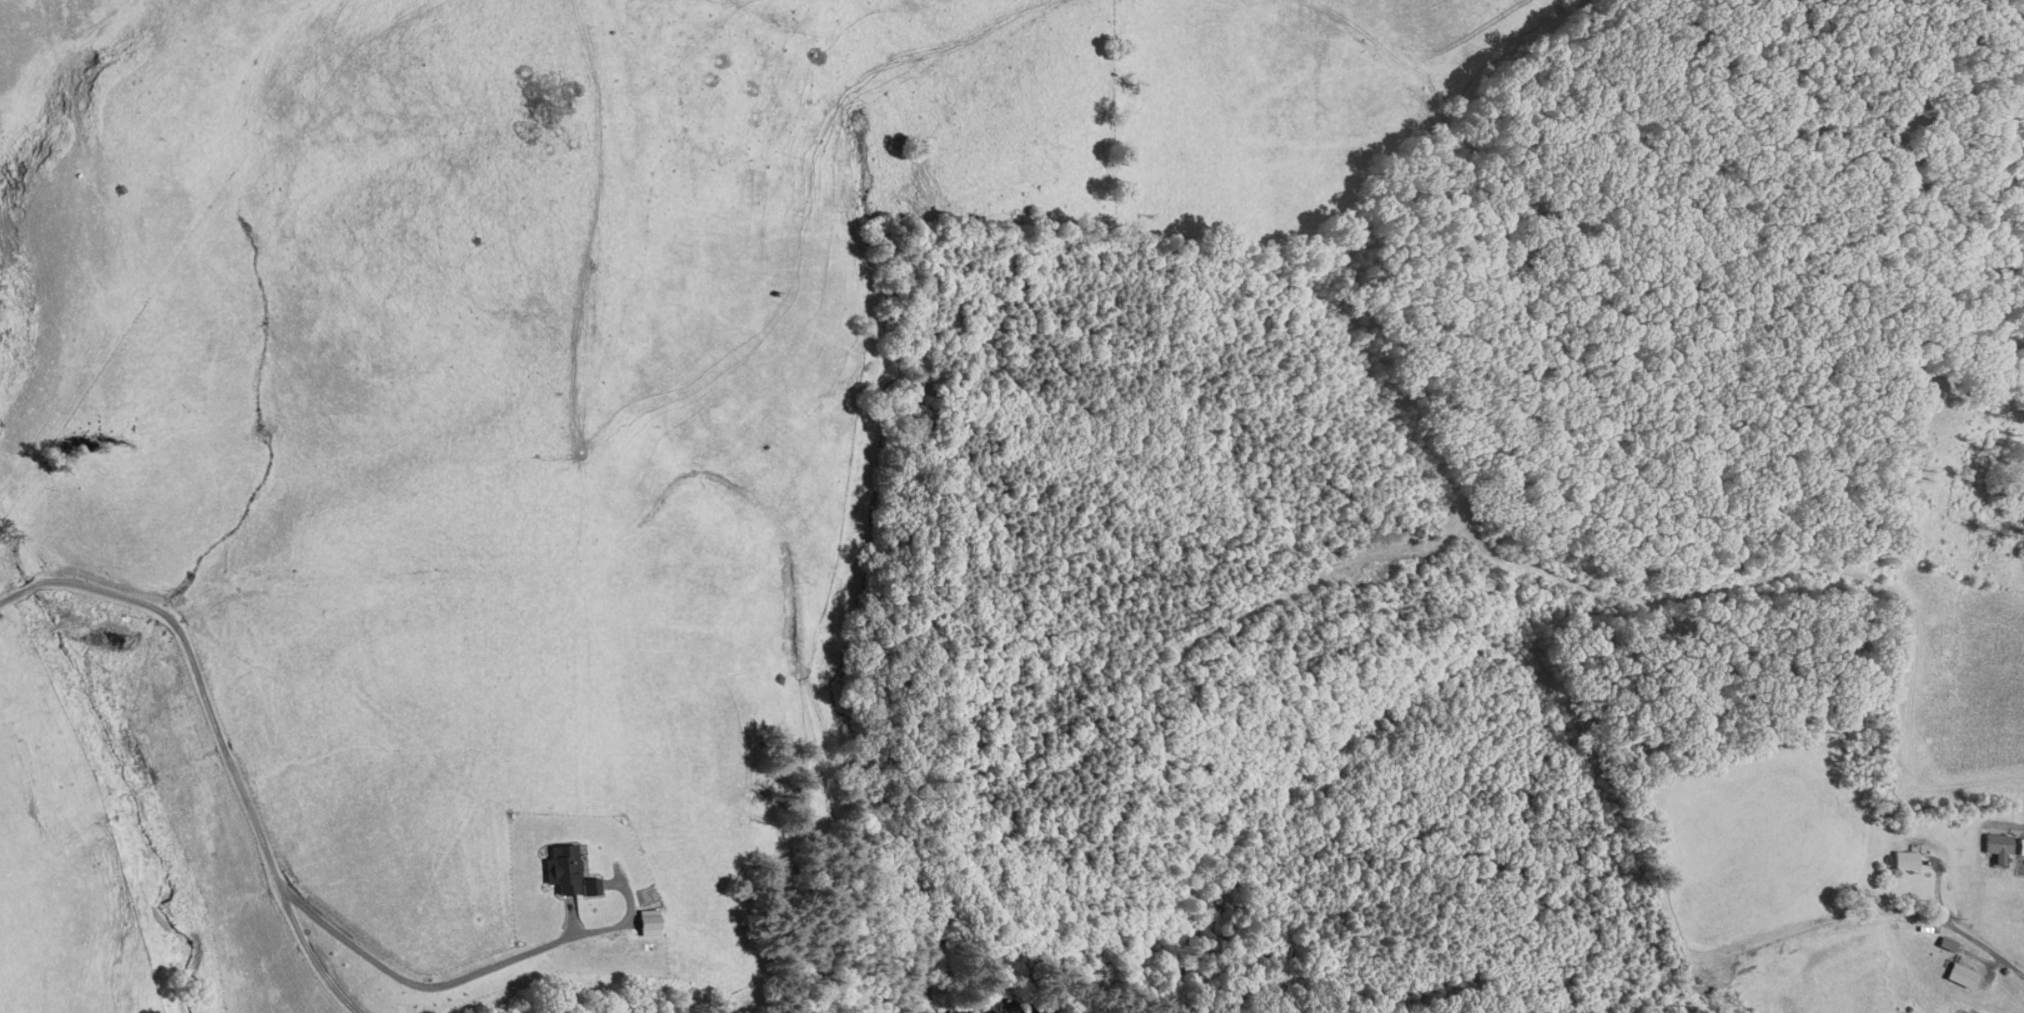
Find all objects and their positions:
road: (218, 737)
building: (1902, 860)
building: (579, 873)
building: (662, 925)
road: (1777, 932)
building: (1957, 974)
river: (1009, 995)

